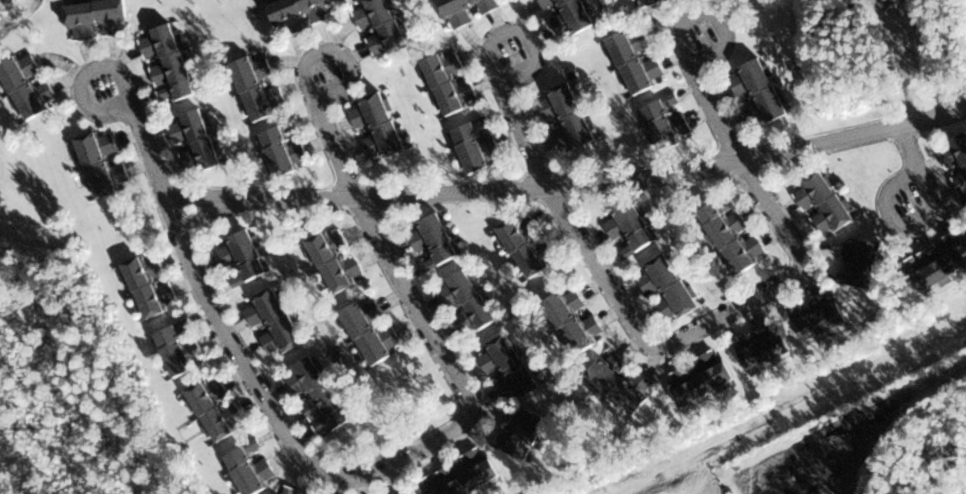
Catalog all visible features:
building: (643, 2)
building: (462, 10)
building: (298, 13)
building: (568, 17)
building: (95, 18)
building: (379, 27)
building: (635, 60)
building: (166, 64)
building: (448, 82)
building: (26, 86)
building: (257, 88)
building: (757, 91)
road: (717, 106)
building: (565, 118)
building: (664, 121)
building: (376, 127)
road: (526, 133)
building: (194, 141)
road: (148, 143)
building: (474, 146)
building: (282, 149)
road: (338, 150)
building: (956, 159)
building: (100, 163)
road: (570, 183)
building: (823, 201)
road: (924, 217)
building: (629, 228)
building: (731, 233)
airport: (459, 234)
building: (432, 240)
building: (525, 245)
building: (241, 257)
building: (334, 260)
building: (938, 260)
building: (859, 262)
building: (148, 285)
building: (666, 288)
building: (465, 299)
building: (819, 317)
building: (571, 320)
building: (272, 321)
road: (701, 326)
building: (368, 330)
building: (178, 347)
building: (763, 347)
building: (507, 366)
building: (699, 377)
building: (618, 383)
building: (315, 396)
building: (213, 411)
building: (524, 434)
building: (248, 467)
road: (369, 471)
building: (466, 474)
building: (290, 491)
building: (408, 493)

